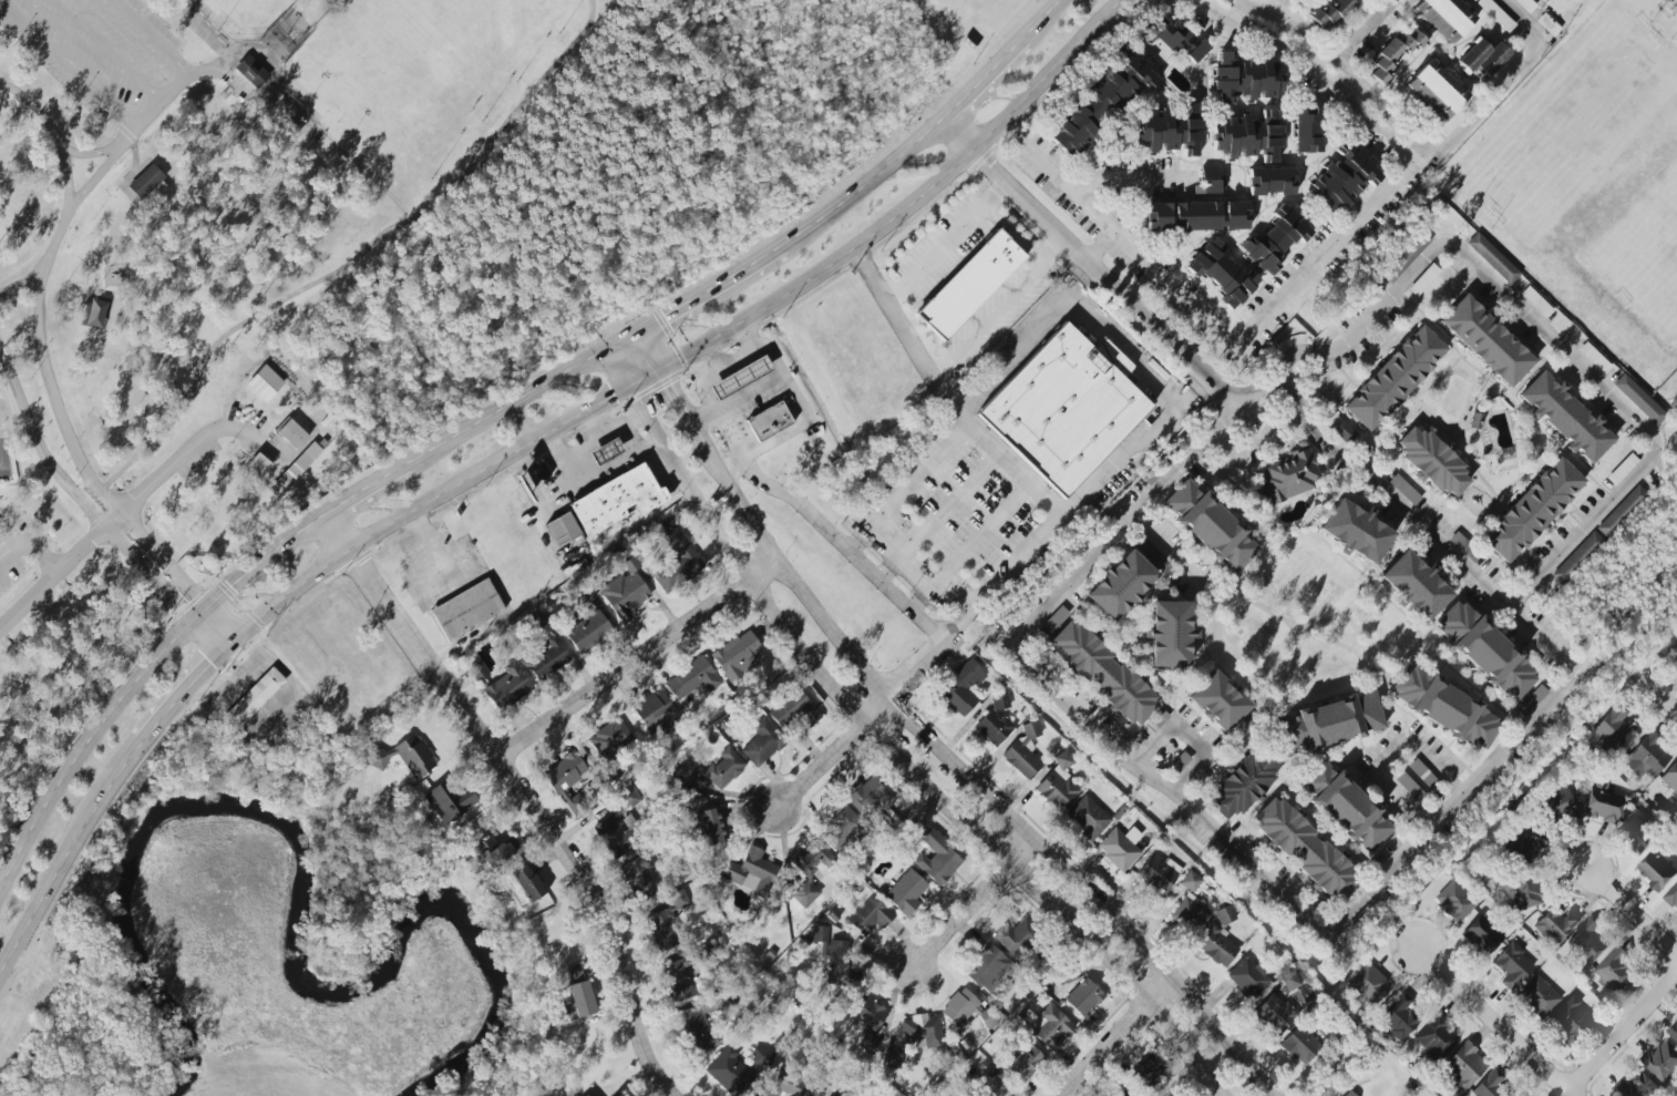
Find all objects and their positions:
building: (1525, 4)
road: (1053, 8)
building: (1328, 12)
park: (243, 16)
building: (1443, 17)
road: (307, 22)
road: (1295, 33)
road: (1267, 37)
building: (1174, 39)
road: (164, 49)
road: (107, 51)
building: (1393, 52)
parking lot: (104, 55)
building: (1481, 57)
road: (69, 64)
building: (253, 72)
road: (990, 73)
building: (1245, 76)
park: (413, 78)
road: (1506, 82)
building: (1434, 90)
building: (1100, 102)
road: (145, 120)
building: (1167, 130)
building: (1306, 130)
road: (991, 132)
building: (1246, 136)
road: (136, 147)
road: (99, 153)
road: (135, 172)
road: (97, 176)
building: (1342, 176)
road: (1001, 178)
building: (1211, 178)
building: (146, 181)
road: (1086, 181)
building: (1270, 181)
road: (858, 188)
building: (1196, 216)
road: (1009, 234)
building: (1274, 238)
road: (944, 242)
road: (1050, 249)
building: (1402, 255)
building: (1491, 257)
road: (343, 267)
building: (1221, 273)
road: (24, 283)
park: (202, 284)
building: (968, 284)
road: (700, 297)
road: (1287, 300)
road: (1136, 306)
road: (984, 319)
road: (905, 334)
building: (1485, 340)
road: (1123, 350)
road: (636, 357)
road: (710, 359)
road: (48, 377)
building: (739, 377)
gas station: (739, 377)
building: (1392, 377)
building: (264, 382)
road: (700, 388)
road: (981, 392)
road: (676, 399)
building: (1638, 399)
road: (511, 403)
building: (1063, 407)
road: (800, 409)
building: (1564, 417)
building: (768, 421)
road: (595, 422)
road: (703, 423)
road: (1642, 424)
building: (1340, 429)
building: (290, 432)
road: (593, 439)
road: (536, 440)
road: (1257, 444)
gas station: (604, 450)
building: (605, 451)
building: (1431, 461)
building: (257, 465)
road: (1012, 468)
building: (294, 469)
building: (1286, 477)
building: (1398, 483)
road: (364, 489)
building: (615, 500)
road: (947, 502)
road: (1074, 508)
building: (1531, 509)
building: (1621, 512)
road: (93, 513)
road: (127, 513)
building: (1208, 525)
building: (562, 530)
building: (1355, 531)
road: (980, 535)
road: (430, 544)
road: (837, 545)
road: (29, 547)
road: (1162, 551)
parking lot: (18, 555)
building: (1575, 559)
building: (676, 561)
road: (918, 574)
road: (435, 583)
building: (1119, 585)
building: (1413, 585)
building: (624, 592)
building: (465, 610)
building: (585, 631)
building: (1169, 634)
building: (1484, 651)
building: (735, 652)
building: (1674, 653)
road: (641, 657)
building: (547, 658)
road: (914, 664)
building: (477, 672)
building: (1101, 673)
road: (135, 678)
building: (690, 678)
building: (506, 686)
road: (1658, 686)
building: (960, 687)
road: (185, 690)
building: (251, 699)
building: (999, 700)
building: (1221, 705)
building: (1444, 707)
building: (792, 710)
building: (654, 711)
building: (1327, 723)
building: (991, 727)
building: (1613, 727)
road: (1186, 736)
building: (608, 737)
building: (761, 741)
road: (834, 747)
road: (885, 747)
building: (1022, 751)
building: (404, 755)
road: (1385, 755)
building: (1646, 757)
building: (710, 769)
road: (973, 772)
building: (1670, 777)
building: (565, 778)
building: (1057, 782)
building: (1243, 783)
road: (526, 791)
building: (868, 792)
building: (446, 801)
building: (1602, 802)
building: (1556, 806)
building: (1344, 807)
building: (1088, 818)
building: (618, 822)
road: (1208, 824)
building: (710, 826)
building: (840, 829)
building: (1637, 831)
building: (1523, 842)
building: (1119, 847)
building: (493, 850)
building: (1304, 850)
road: (65, 851)
building: (936, 858)
building: (748, 867)
building: (809, 868)
building: (1657, 870)
building: (1156, 873)
building: (638, 875)
building: (1190, 881)
building: (526, 882)
building: (905, 892)
building: (1522, 893)
building: (1671, 895)
building: (677, 899)
road: (971, 899)
building: (1454, 901)
road: (1632, 905)
river: (282, 909)
building: (1190, 911)
building: (867, 913)
building: (1224, 914)
building: (1555, 923)
building: (660, 929)
building: (1481, 935)
building: (1015, 936)
building: (1586, 944)
building: (1215, 945)
building: (832, 955)
building: (1511, 965)
building: (986, 966)
building: (1615, 970)
building: (1067, 974)
building: (676, 977)
building: (1247, 977)
building: (1288, 981)
building: (1368, 984)
building: (576, 995)
building: (1082, 996)
building: (1537, 996)
building: (1274, 1013)
road: (1491, 1014)
building: (1397, 1016)
building: (866, 1020)
building: (1567, 1021)
building: (1049, 1026)
building: (695, 1031)
building: (919, 1031)
building: (1673, 1031)
road: (1624, 1033)
building: (1434, 1038)
road: (1132, 1042)
building: (1298, 1045)
building: (761, 1055)
building: (889, 1058)
building: (1663, 1059)
building: (1025, 1064)
road: (1356, 1066)
building: (1462, 1066)
building: (1145, 1069)
building: (729, 1071)
building: (784, 1084)
building: (992, 1086)
building: (1493, 1086)
building: (1637, 1086)
building: (1115, 1094)
building: (1348, 1094)
building: (584, 1095)
building: (585, 1095)
building: (1520, 1095)

